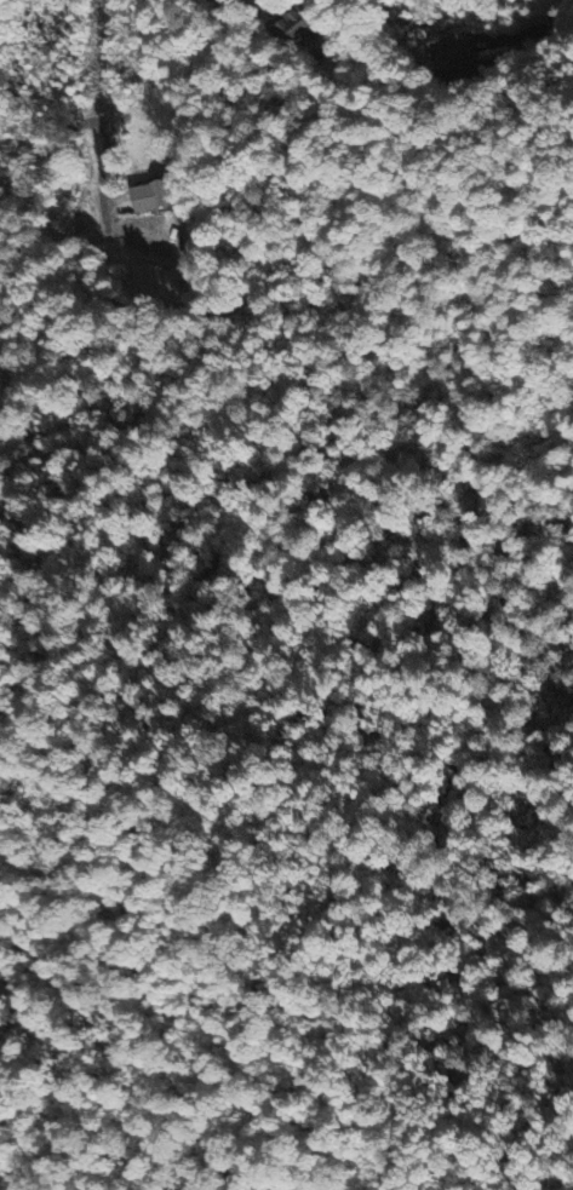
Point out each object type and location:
road: (315, 4)
road: (543, 17)
road: (22, 58)
road: (104, 178)
building: (149, 200)

